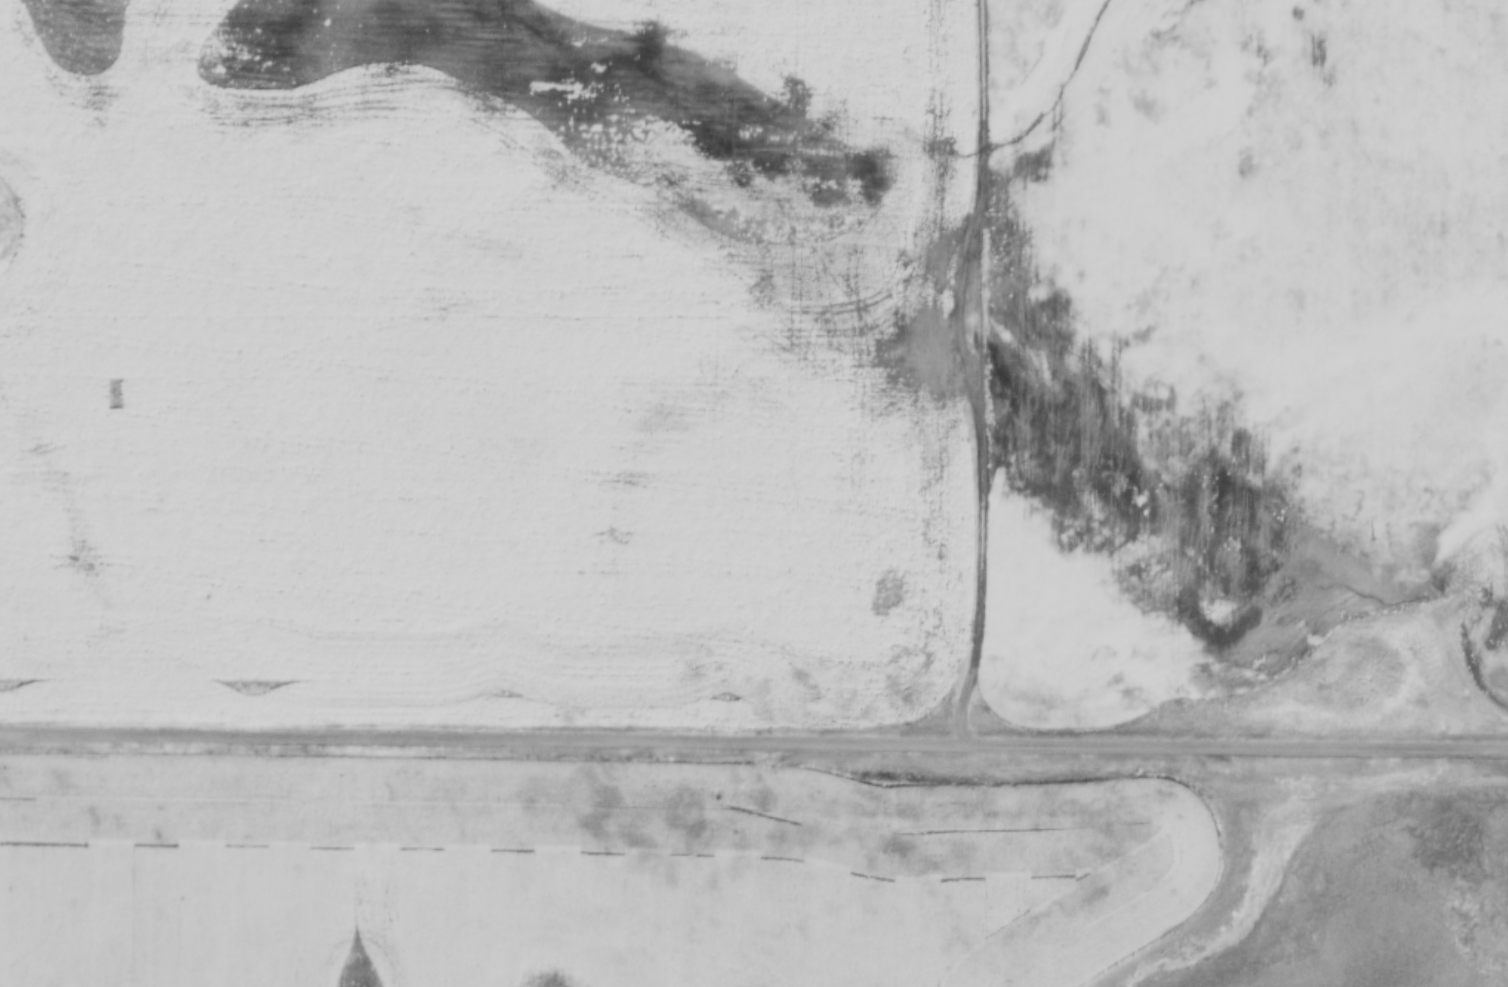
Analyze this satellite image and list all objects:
road: (974, 371)
road: (754, 737)

